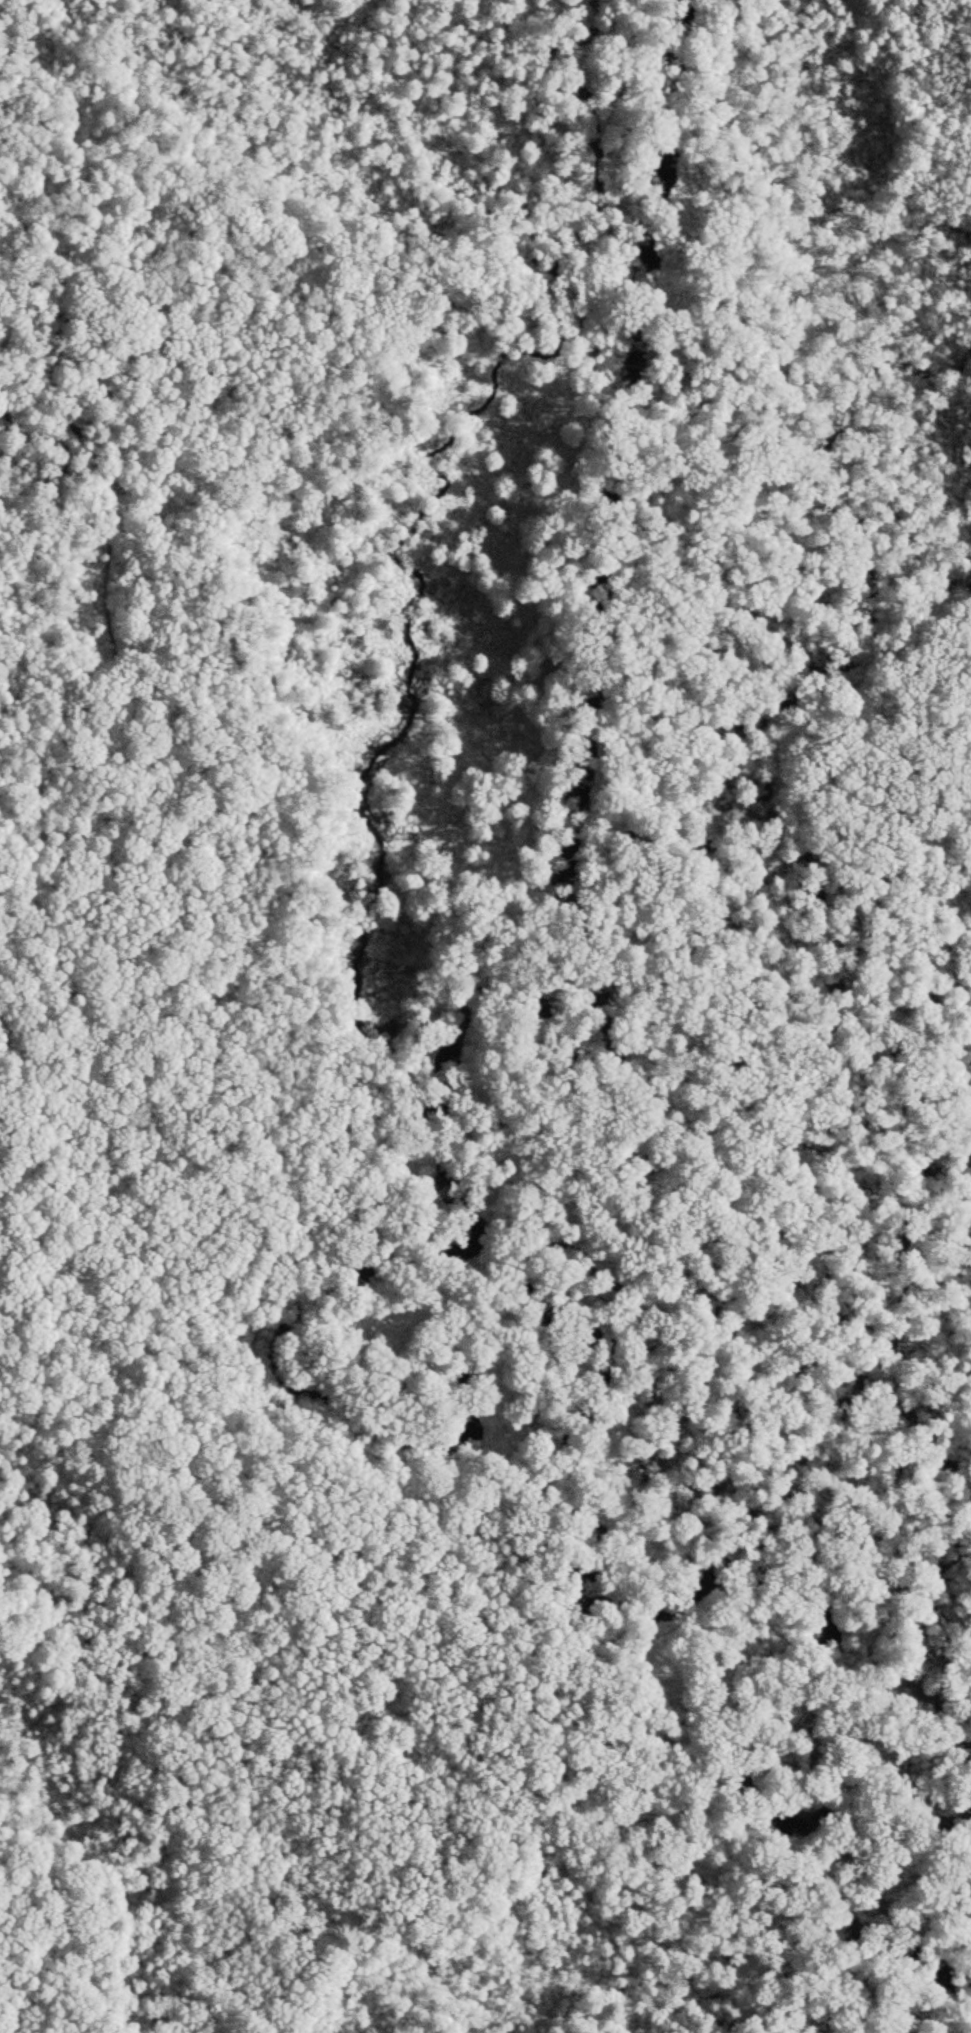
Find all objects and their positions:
road: (901, 122)
road: (963, 203)
road: (831, 741)

